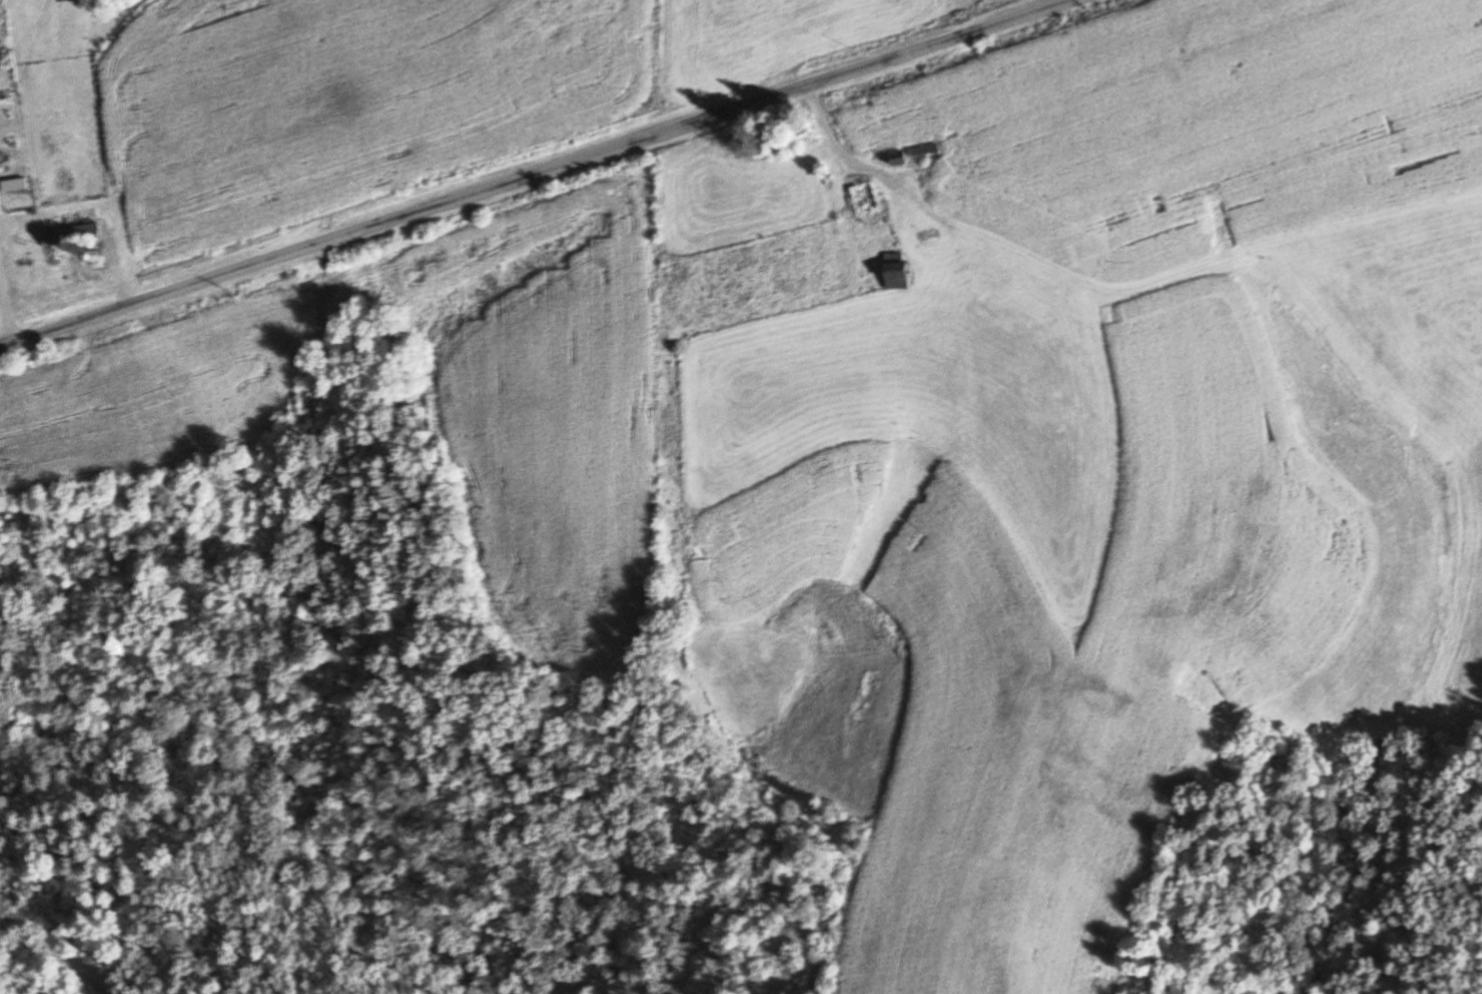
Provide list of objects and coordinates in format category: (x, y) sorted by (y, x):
building: (924, 152)
building: (901, 160)
road: (525, 170)
building: (17, 187)
building: (43, 260)
building: (900, 274)

